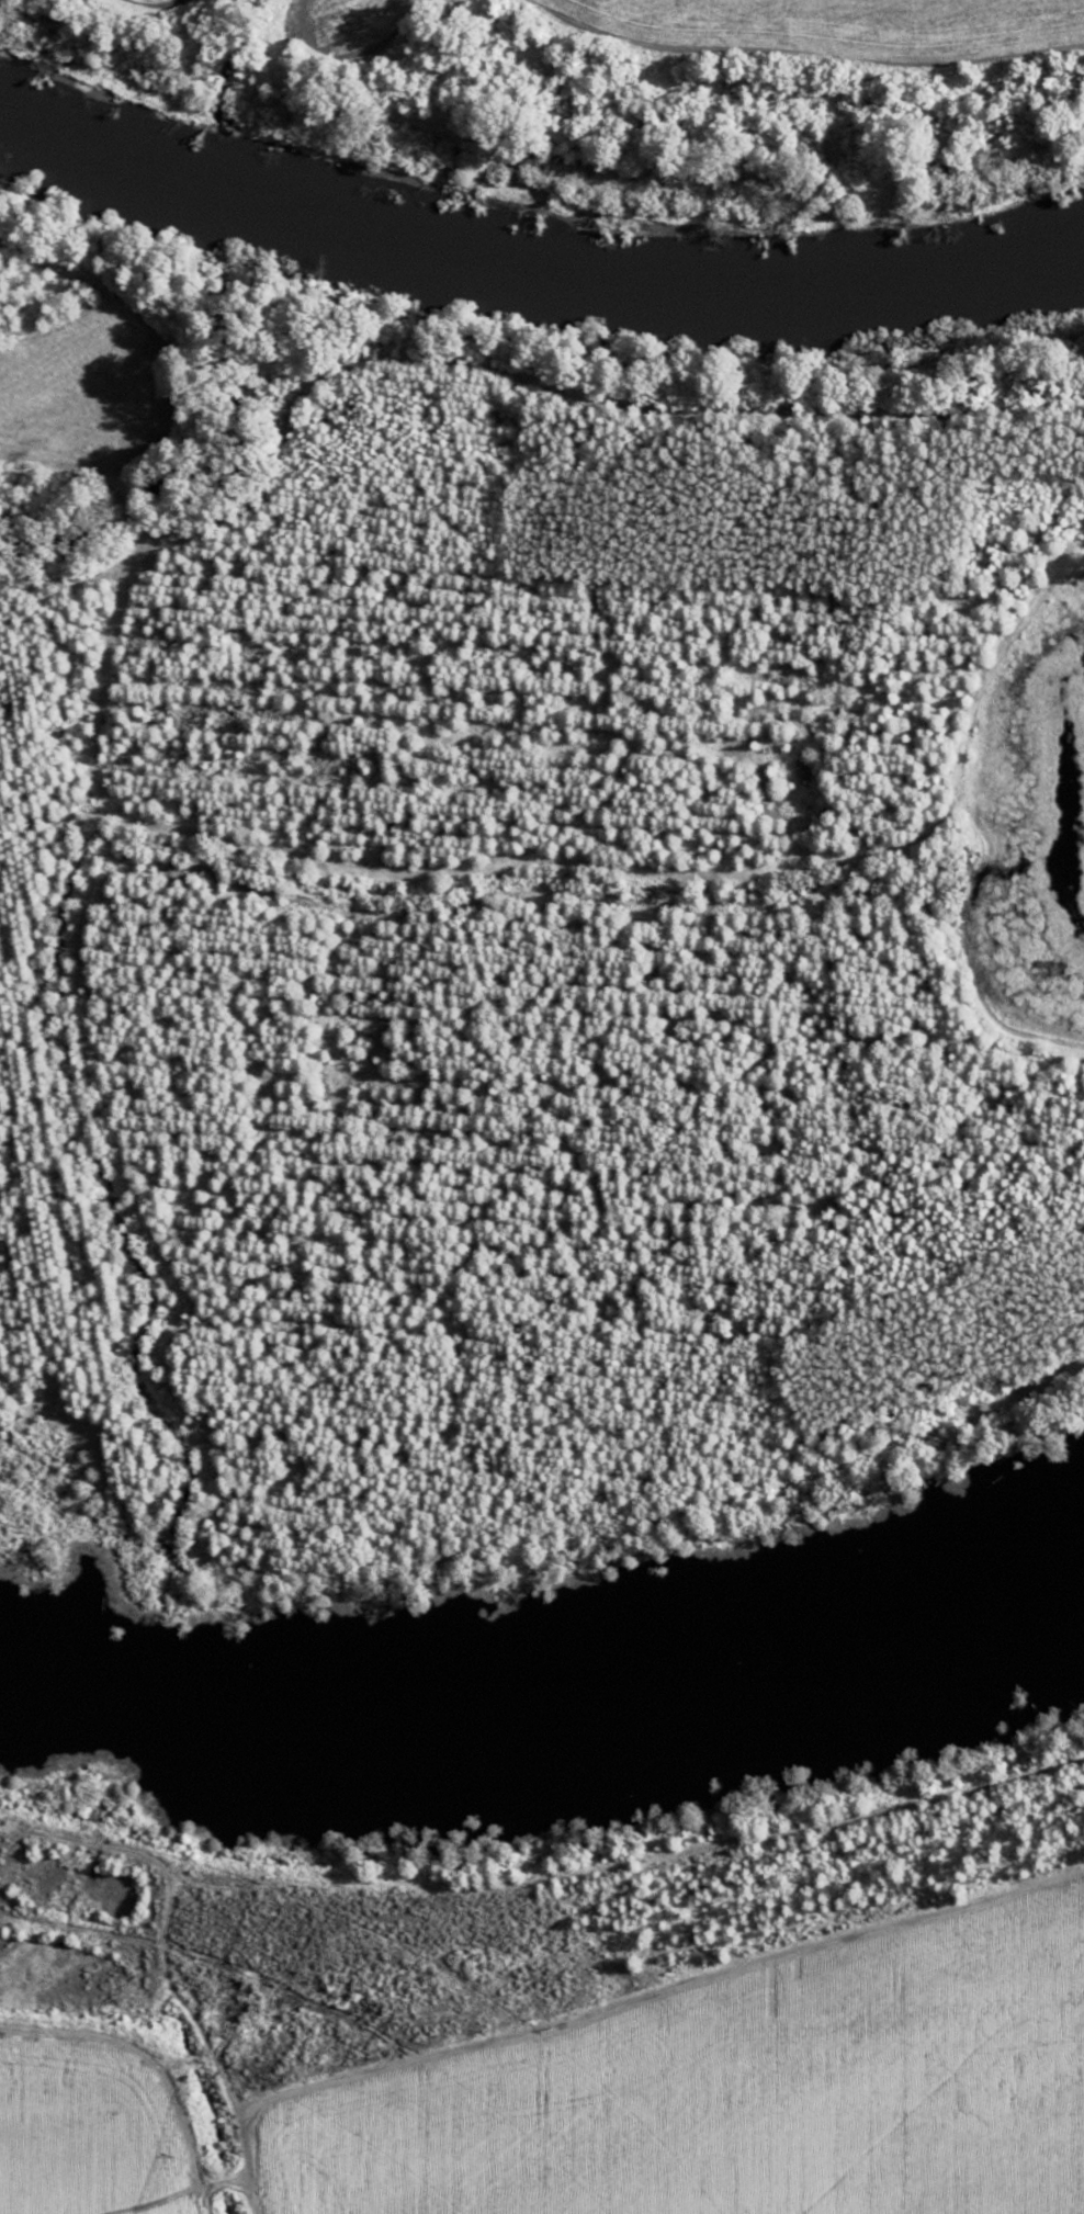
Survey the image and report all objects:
river: (532, 266)
road: (383, 353)
road: (157, 2060)
road: (197, 2211)

